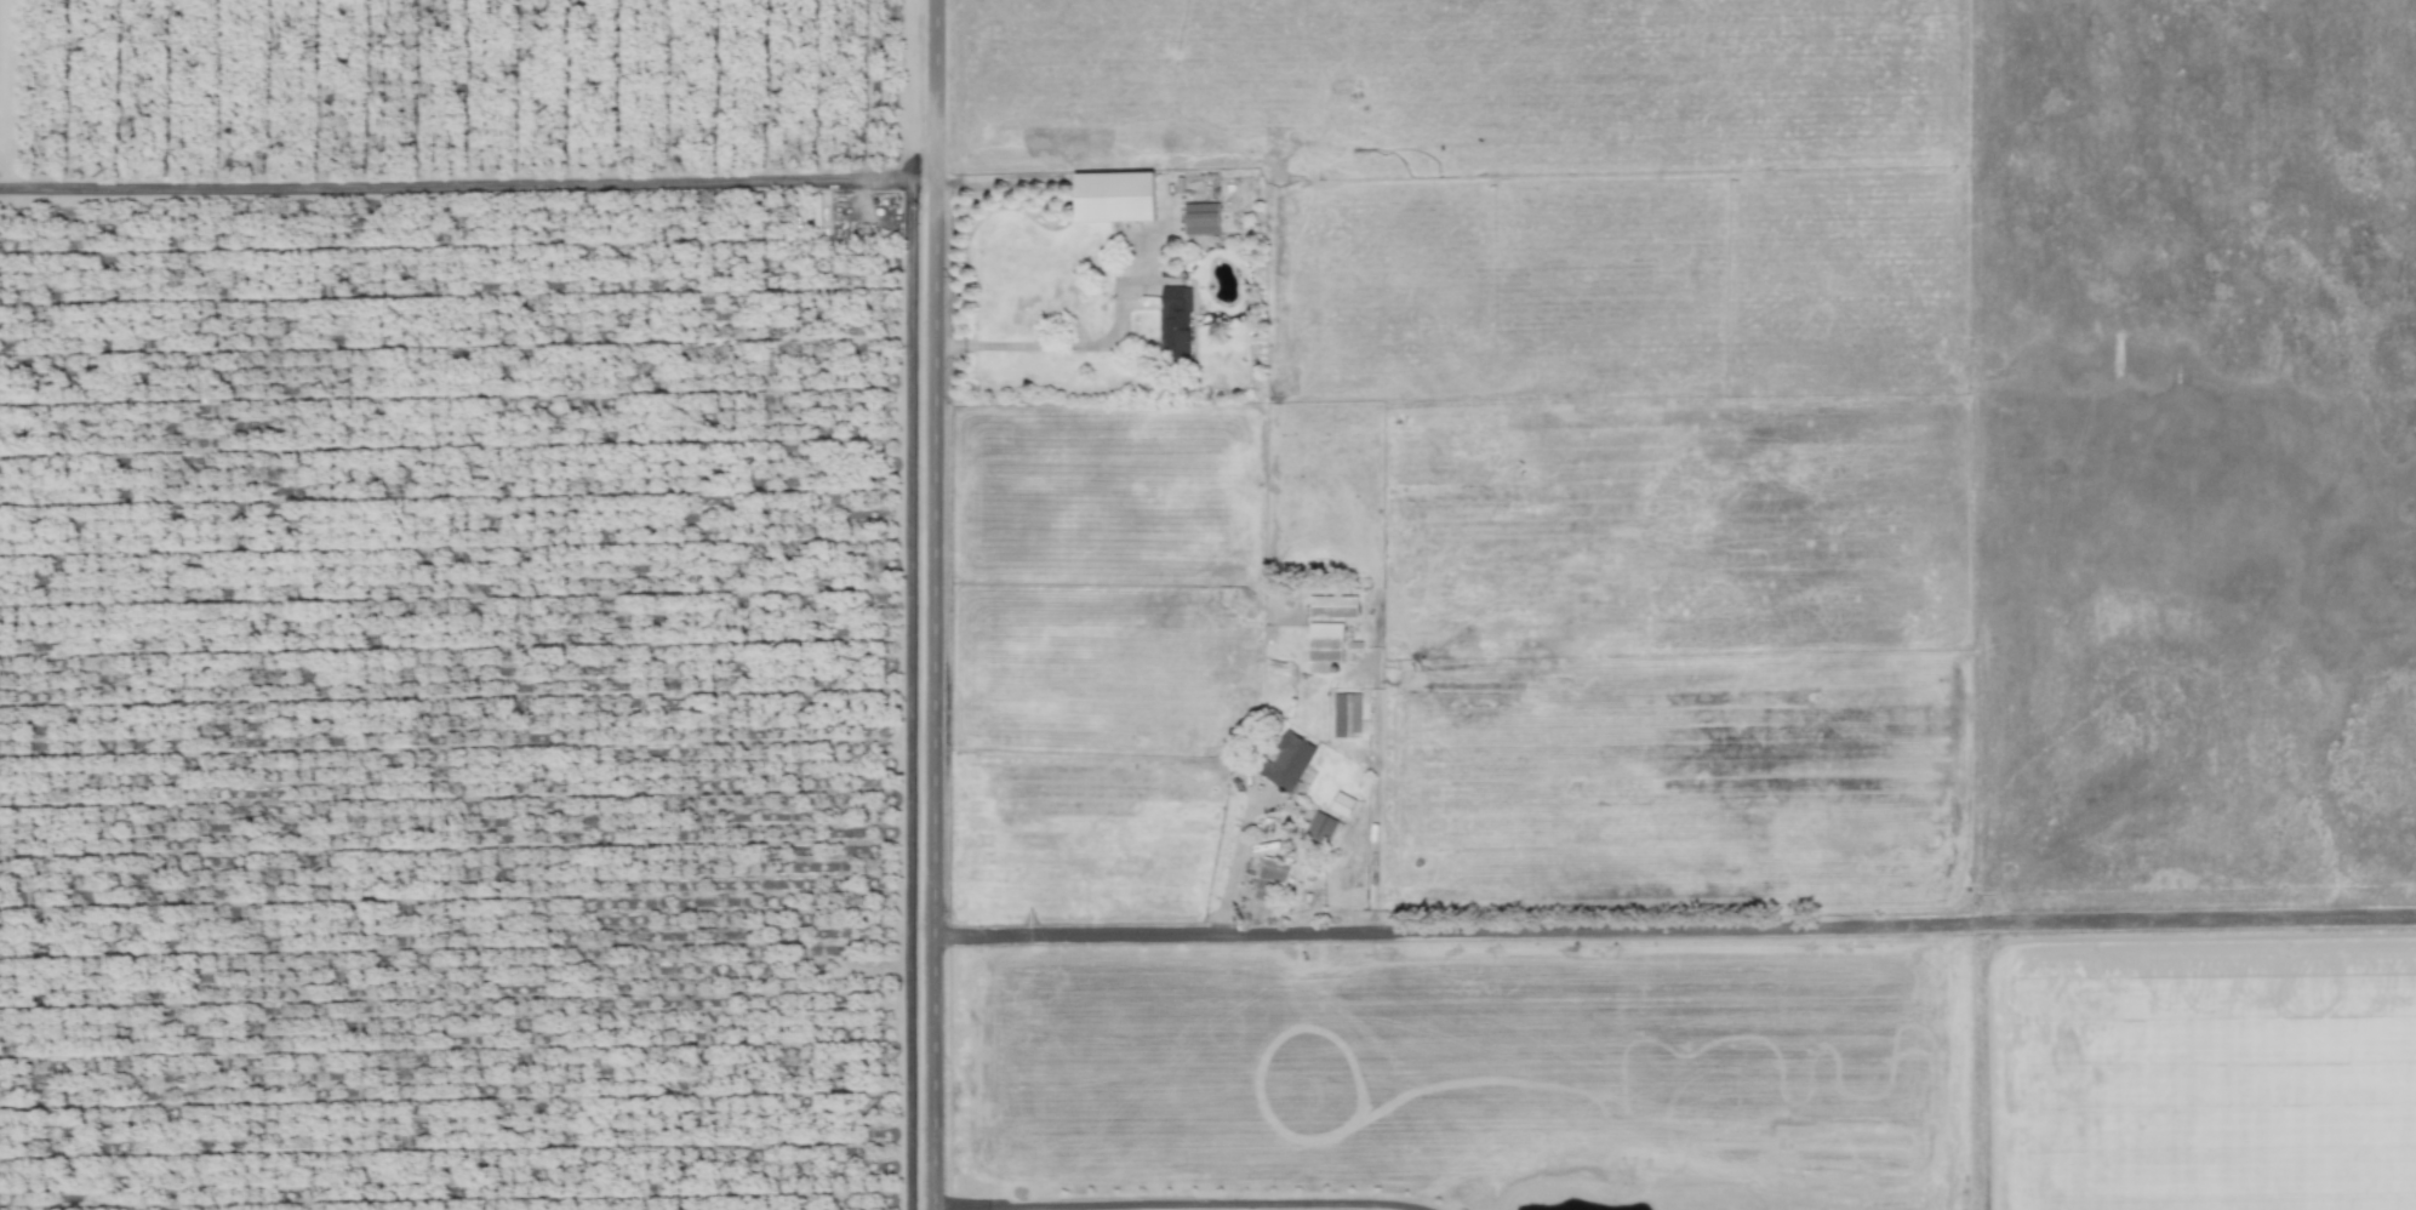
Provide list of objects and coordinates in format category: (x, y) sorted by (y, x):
building: (1114, 196)
building: (1201, 218)
building: (1175, 323)
road: (1067, 344)
road: (937, 604)
building: (1332, 606)
building: (1347, 714)
building: (1287, 761)
building: (1342, 804)
building: (1323, 828)
building: (1270, 878)
road: (1886, 924)
road: (1303, 931)
road: (1182, 1203)

